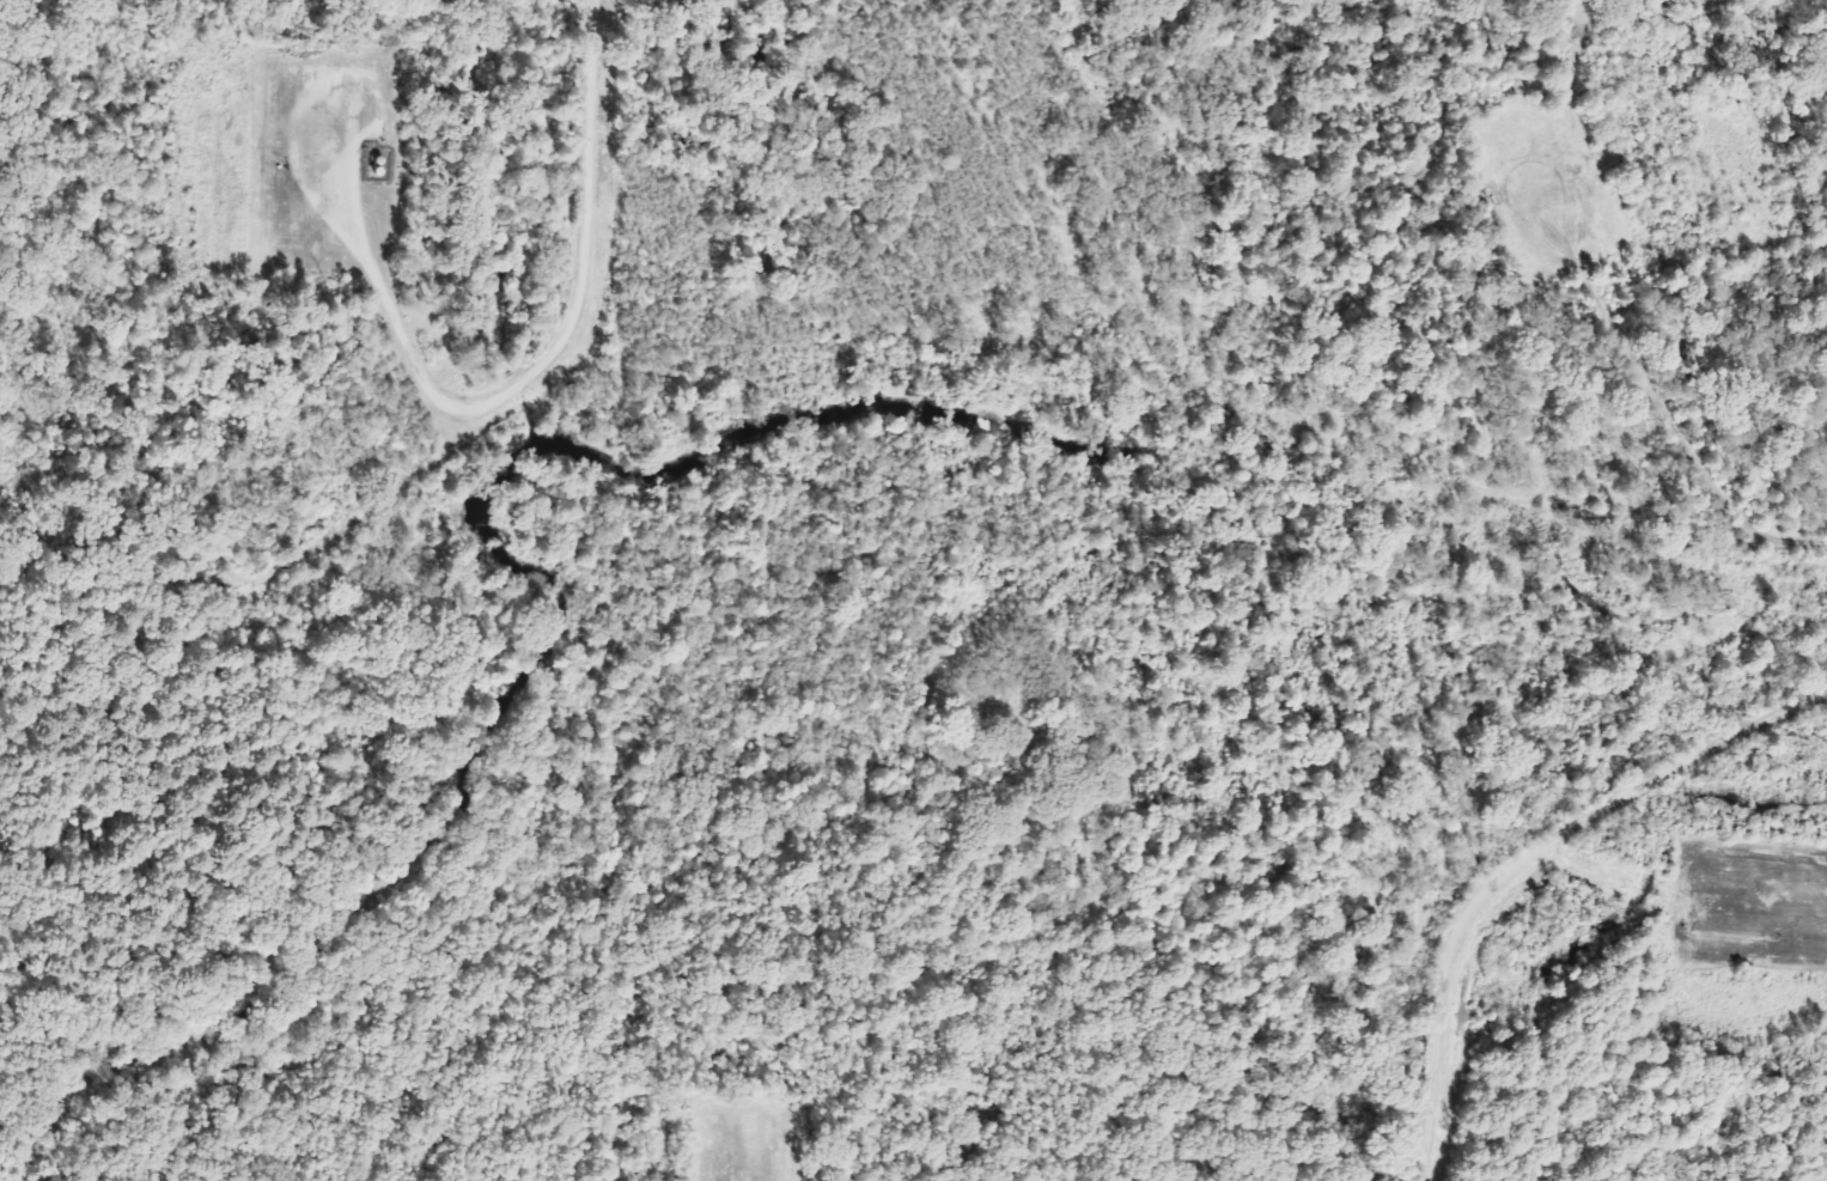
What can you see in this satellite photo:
road: (1518, 858)

